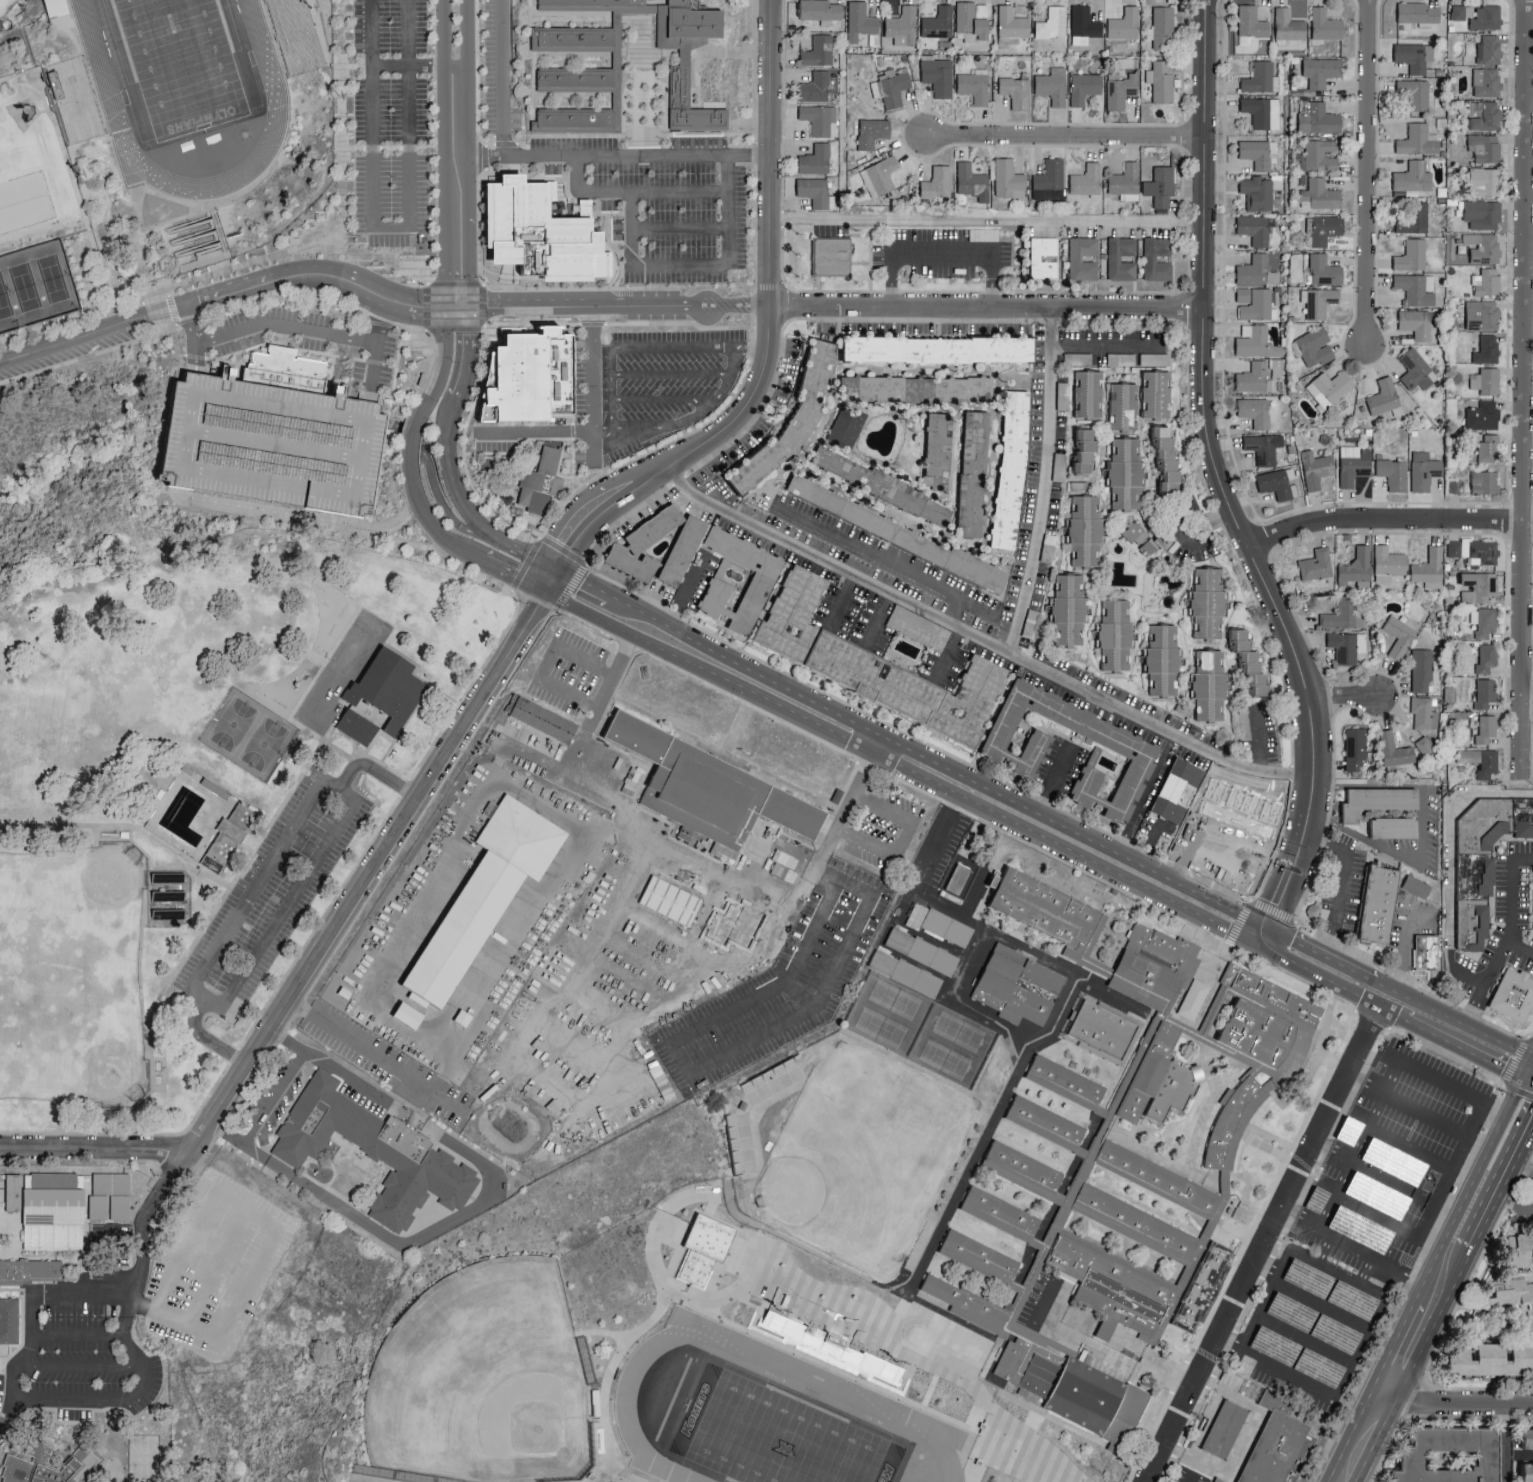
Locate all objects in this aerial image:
park: (6, 5)
building: (821, 10)
building: (1463, 11)
building: (57, 12)
building: (1417, 12)
building: (1487, 17)
building: (860, 21)
building: (939, 22)
building: (971, 22)
building: (1252, 22)
building: (1052, 23)
building: (1084, 24)
building: (1125, 24)
building: (1326, 24)
building: (903, 25)
building: (1288, 25)
building: (1011, 26)
building: (1162, 27)
building: (296, 35)
building: (1489, 49)
building: (819, 50)
road: (727, 52)
building: (1414, 56)
park: (181, 64)
road: (411, 65)
building: (556, 66)
parking lot: (498, 69)
building: (1321, 70)
building: (938, 76)
road: (500, 78)
building: (1260, 78)
building: (1161, 81)
building: (1487, 81)
building: (974, 85)
building: (1053, 85)
building: (891, 86)
building: (815, 87)
building: (1085, 87)
building: (1121, 89)
building: (1016, 91)
track: (265, 92)
building: (1415, 92)
building: (74, 100)
building: (1262, 111)
building: (1485, 115)
building: (817, 119)
building: (1319, 119)
road: (742, 122)
parking lot: (390, 124)
road: (341, 125)
building: (870, 131)
road: (1063, 133)
road: (639, 134)
building: (1419, 140)
road: (518, 143)
building: (1485, 147)
road: (769, 152)
road: (454, 153)
building: (1257, 153)
road: (611, 154)
building: (1320, 154)
building: (816, 159)
park: (31, 166)
road: (577, 173)
road: (1365, 173)
building: (879, 175)
building: (1008, 178)
building: (1412, 179)
building: (1049, 180)
building: (1087, 180)
building: (971, 181)
building: (1126, 181)
building: (1485, 181)
building: (937, 182)
building: (1277, 182)
building: (1161, 186)
road: (652, 191)
building: (814, 191)
building: (1257, 193)
building: (1320, 194)
parking lot: (664, 199)
road: (479, 202)
road: (727, 208)
road: (602, 213)
building: (1482, 214)
building: (1413, 218)
road: (985, 219)
road: (631, 227)
road: (679, 227)
road: (390, 228)
building: (1255, 228)
building: (1324, 228)
building: (543, 231)
building: (1482, 247)
road: (313, 250)
road: (618, 250)
road: (942, 252)
building: (832, 255)
building: (1411, 255)
building: (1035, 257)
building: (1075, 257)
building: (1114, 257)
building: (1150, 258)
road: (679, 263)
road: (508, 270)
road: (623, 270)
building: (1257, 270)
building: (1324, 270)
road: (517, 273)
road: (493, 274)
road: (507, 276)
building: (1486, 282)
park: (34, 283)
road: (617, 284)
road: (505, 285)
road: (517, 285)
road: (648, 287)
road: (721, 287)
building: (1416, 288)
road: (315, 293)
road: (227, 294)
building: (1318, 301)
building: (1254, 302)
road: (734, 306)
road: (986, 306)
road: (578, 307)
building: (1482, 315)
road: (71, 320)
road: (658, 322)
road: (560, 323)
building: (1416, 324)
road: (723, 326)
road: (291, 329)
road: (754, 333)
building: (1257, 342)
road: (276, 343)
road: (1107, 345)
building: (1315, 346)
road: (748, 349)
building: (939, 349)
building: (1485, 349)
road: (178, 351)
road: (193, 358)
road: (209, 358)
road: (72, 361)
road: (374, 361)
road: (444, 361)
road: (396, 365)
road: (465, 365)
building: (1416, 369)
building: (1277, 371)
road: (331, 373)
road: (669, 374)
building: (526, 377)
building: (1253, 377)
road: (372, 380)
road: (588, 380)
building: (1486, 381)
parking lot: (647, 383)
road: (1522, 387)
building: (917, 388)
building: (1330, 388)
building: (1157, 394)
building: (1385, 397)
road: (659, 398)
building: (1124, 406)
building: (1256, 411)
building: (1483, 415)
road: (612, 416)
building: (792, 421)
building: (847, 426)
road: (414, 431)
road: (552, 431)
road: (446, 435)
building: (272, 438)
parking garage: (272, 438)
road: (539, 439)
road: (464, 443)
building: (1264, 447)
building: (1488, 448)
building: (938, 450)
building: (1084, 450)
road: (687, 452)
building: (1167, 456)
building: (1354, 464)
building: (1012, 469)
building: (1316, 469)
building: (1424, 470)
road: (557, 473)
building: (974, 473)
road: (1217, 473)
building: (1394, 474)
road: (433, 476)
road: (1046, 481)
building: (1484, 482)
building: (540, 483)
building: (1277, 484)
building: (882, 485)
road: (713, 492)
road: (266, 516)
road: (1387, 516)
road: (429, 518)
road: (397, 523)
parking lot: (1171, 523)
road: (479, 524)
building: (1085, 531)
building: (898, 533)
building: (1140, 537)
road: (412, 544)
building: (686, 544)
road: (1191, 544)
building: (1475, 550)
road: (879, 558)
building: (1388, 563)
building: (1317, 564)
traffic signals: (555, 567)
building: (1357, 567)
building: (1429, 568)
road: (1067, 571)
road: (512, 574)
road: (547, 578)
building: (762, 580)
road: (579, 583)
building: (1479, 586)
road: (1185, 589)
traffic signals: (540, 590)
road: (684, 593)
road: (841, 598)
road: (1234, 599)
building: (1208, 603)
building: (1069, 610)
road: (954, 611)
road: (1176, 611)
building: (1345, 613)
road: (878, 618)
building: (1484, 621)
building: (919, 627)
road: (1087, 630)
building: (1400, 634)
building: (1114, 635)
road: (982, 638)
building: (1347, 646)
road: (1055, 651)
road: (949, 652)
building: (1487, 658)
building: (1162, 660)
road: (544, 662)
building: (1249, 662)
building: (874, 663)
road: (1132, 666)
road: (1188, 667)
building: (1421, 670)
building: (1210, 686)
building: (391, 691)
building: (1485, 692)
road: (1342, 694)
road: (1528, 699)
road: (301, 700)
road: (1231, 711)
building: (1422, 711)
building: (544, 719)
building: (359, 729)
building: (1486, 729)
park: (251, 734)
parking lot: (1256, 734)
road: (588, 735)
road: (371, 744)
building: (1425, 746)
building: (1355, 748)
building: (1395, 750)
building: (1141, 751)
building: (1480, 760)
road: (936, 763)
road: (384, 765)
road: (376, 768)
road: (899, 770)
road: (1053, 779)
building: (1177, 789)
building: (712, 790)
park: (194, 791)
road: (338, 792)
road: (1146, 792)
road: (482, 798)
building: (1375, 801)
road: (124, 826)
building: (1393, 827)
road: (836, 831)
road: (1424, 831)
road: (939, 834)
road: (899, 836)
building: (228, 837)
building: (1486, 840)
road: (1150, 843)
road: (1453, 844)
road: (634, 852)
road: (696, 875)
road: (1341, 878)
parking lot: (1344, 880)
building: (962, 881)
road: (363, 884)
building: (1415, 886)
parking lot: (273, 895)
building: (485, 896)
building: (671, 900)
building: (1376, 903)
building: (1046, 908)
building: (913, 912)
road: (211, 915)
building: (1469, 924)
building: (947, 927)
road: (1511, 931)
road: (1265, 934)
road: (1294, 937)
road: (1404, 940)
road: (1519, 947)
building: (923, 954)
building: (1424, 954)
road: (1335, 959)
building: (1156, 970)
road: (1363, 973)
park: (74, 975)
building: (907, 976)
road: (1328, 979)
building: (1021, 988)
road: (801, 995)
building: (1511, 995)
building: (1193, 999)
road: (1473, 1003)
road: (1453, 1019)
park: (919, 1032)
building: (1102, 1034)
road: (206, 1039)
road: (1460, 1045)
building: (1257, 1052)
road: (377, 1056)
road: (1392, 1056)
traffic signals: (1504, 1067)
road: (1529, 1067)
road: (687, 1068)
building: (790, 1071)
road: (1508, 1072)
building: (1147, 1074)
road: (1529, 1077)
building: (1066, 1087)
road: (274, 1096)
road: (1406, 1104)
road: (1364, 1113)
building: (620, 1115)
road: (1475, 1119)
building: (1048, 1129)
road: (1522, 1144)
road: (1409, 1148)
road: (97, 1150)
building: (375, 1151)
park: (858, 1158)
road: (1479, 1165)
road: (1522, 1170)
building: (1024, 1173)
building: (1158, 1184)
building: (13, 1192)
building: (110, 1196)
building: (1315, 1200)
road: (472, 1201)
road: (1513, 1203)
road: (1488, 1206)
building: (55, 1210)
road: (1326, 1214)
building: (1003, 1217)
road: (1377, 1218)
building: (1135, 1226)
parking lot: (1360, 1228)
road: (1263, 1243)
building: (704, 1248)
building: (1520, 1249)
road: (1458, 1252)
road: (1296, 1254)
building: (980, 1259)
road: (113, 1263)
road: (1395, 1267)
road: (1426, 1267)
building: (28, 1270)
building: (1306, 1277)
road: (1352, 1282)
road: (1440, 1282)
road: (228, 1284)
building: (1110, 1288)
building: (1204, 1292)
building: (1514, 1295)
building: (1350, 1299)
building: (964, 1307)
building: (1289, 1311)
road: (1257, 1314)
road: (1341, 1316)
building: (9, 1319)
park: (886, 1322)
building: (1333, 1333)
road: (79, 1334)
road: (1303, 1338)
building: (1273, 1345)
road: (26, 1348)
building: (835, 1350)
road: (1092, 1351)
road: (1409, 1357)
building: (1491, 1359)
road: (81, 1367)
building: (1317, 1367)
road: (1210, 1381)
road: (1308, 1382)
park: (486, 1383)
building: (1069, 1389)
road: (1459, 1405)
road: (6, 1412)
road: (1250, 1418)
building: (1223, 1429)
park: (773, 1437)
building: (1529, 1437)
road: (1366, 1443)
road: (1501, 1443)
building: (1276, 1445)
building: (39, 1446)
building: (956, 1454)
building: (1452, 1455)
park: (143, 1458)
building: (46, 1470)
building: (1528, 1472)
building: (1218, 1480)

